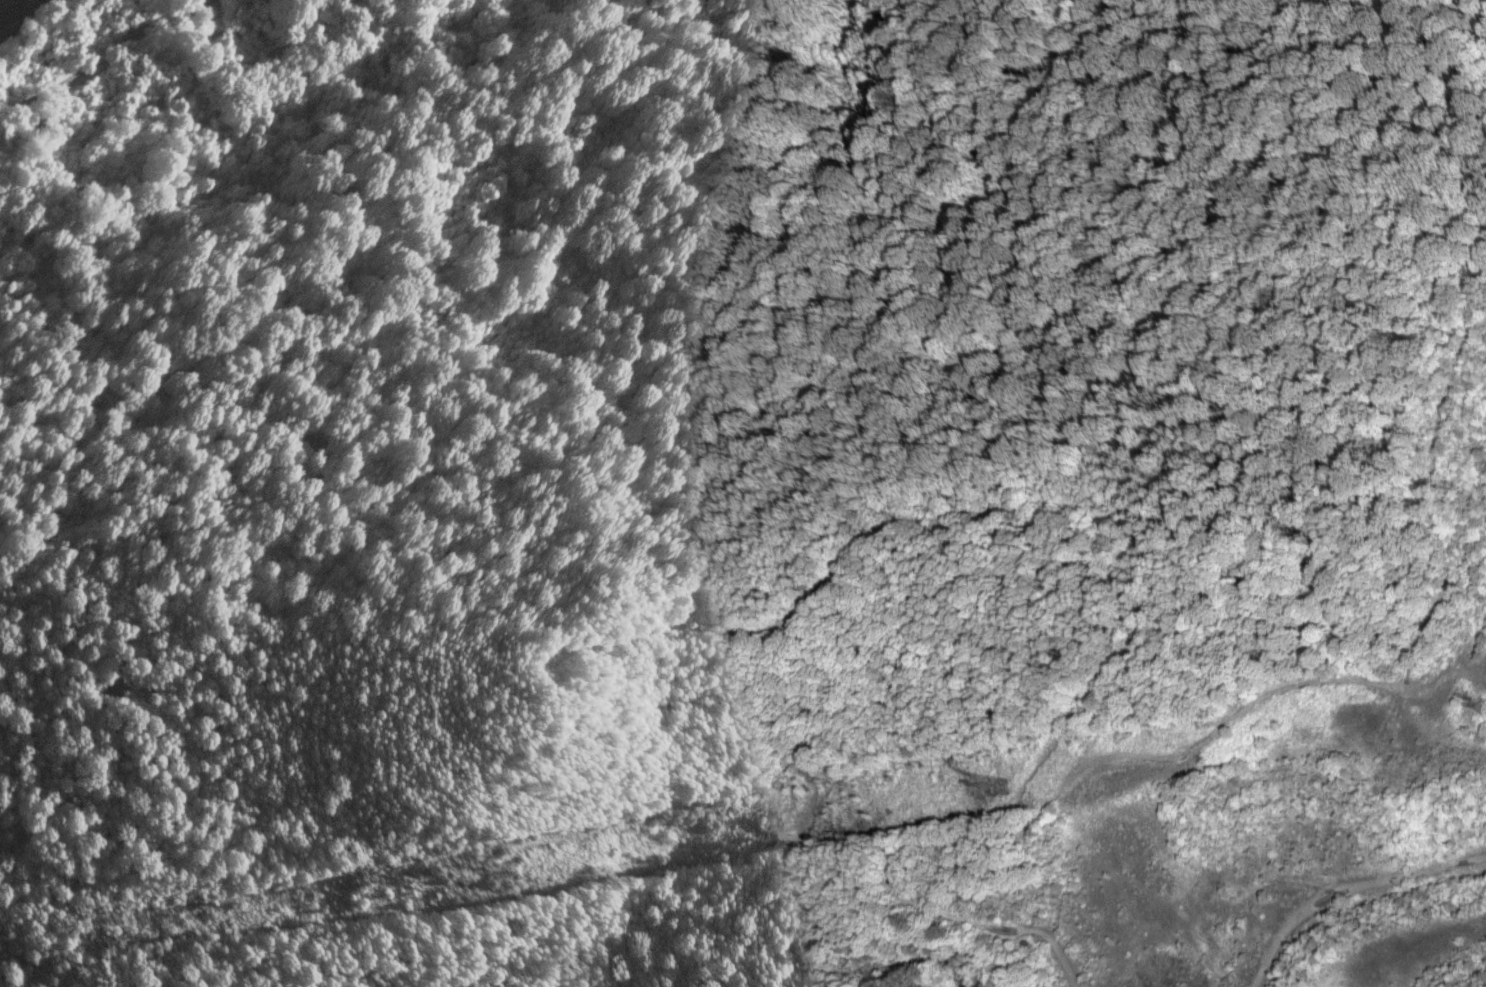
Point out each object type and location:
railway: (8, 5)
railway: (16, 10)
road: (103, 60)
power tower: (1000, 785)
power tower: (470, 877)

